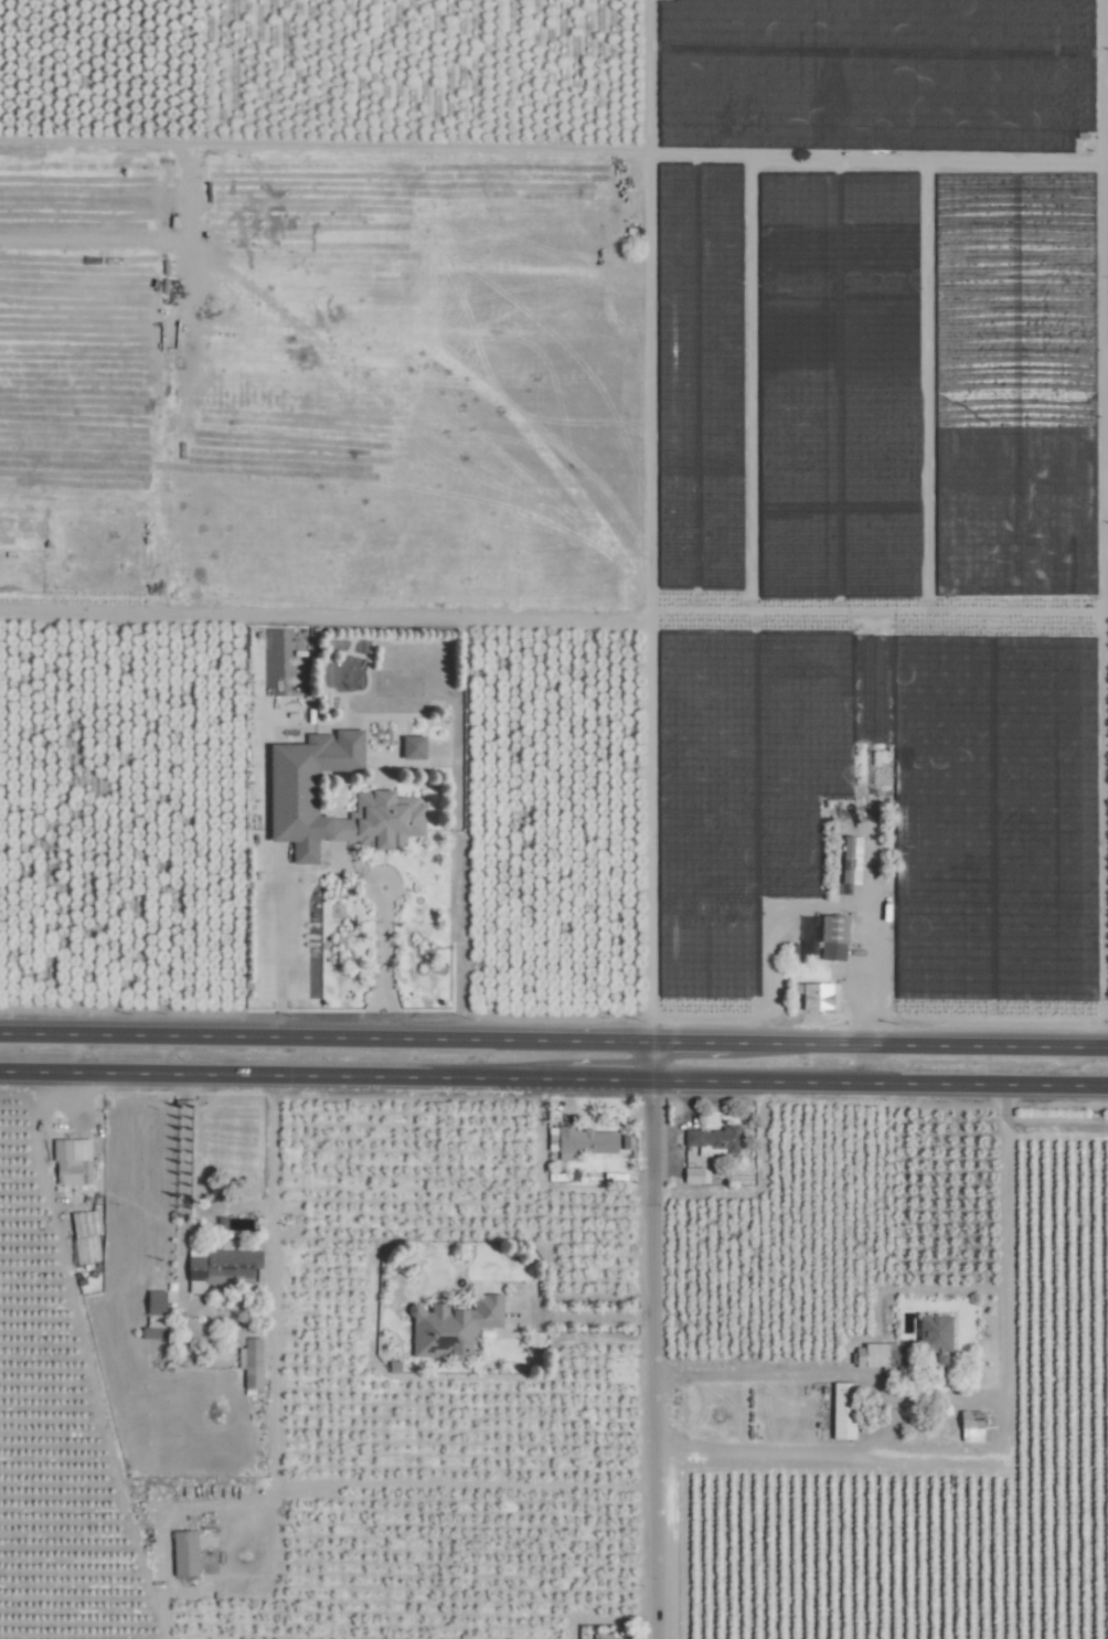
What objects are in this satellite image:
building: (412, 746)
building: (291, 794)
crop: (554, 819)
building: (851, 860)
road: (828, 907)
building: (832, 937)
building: (816, 996)
road: (326, 1036)
road: (690, 1041)
road: (918, 1044)
road: (280, 1075)
road: (607, 1078)
road: (878, 1082)
road: (1055, 1126)
building: (711, 1138)
building: (585, 1140)
building: (72, 1161)
building: (695, 1175)
road: (182, 1196)
road: (587, 1316)
road: (1003, 1319)
building: (452, 1327)
building: (935, 1337)
road: (652, 1340)
building: (877, 1355)
building: (251, 1363)
building: (843, 1411)
road: (885, 1419)
building: (971, 1426)
building: (184, 1553)

